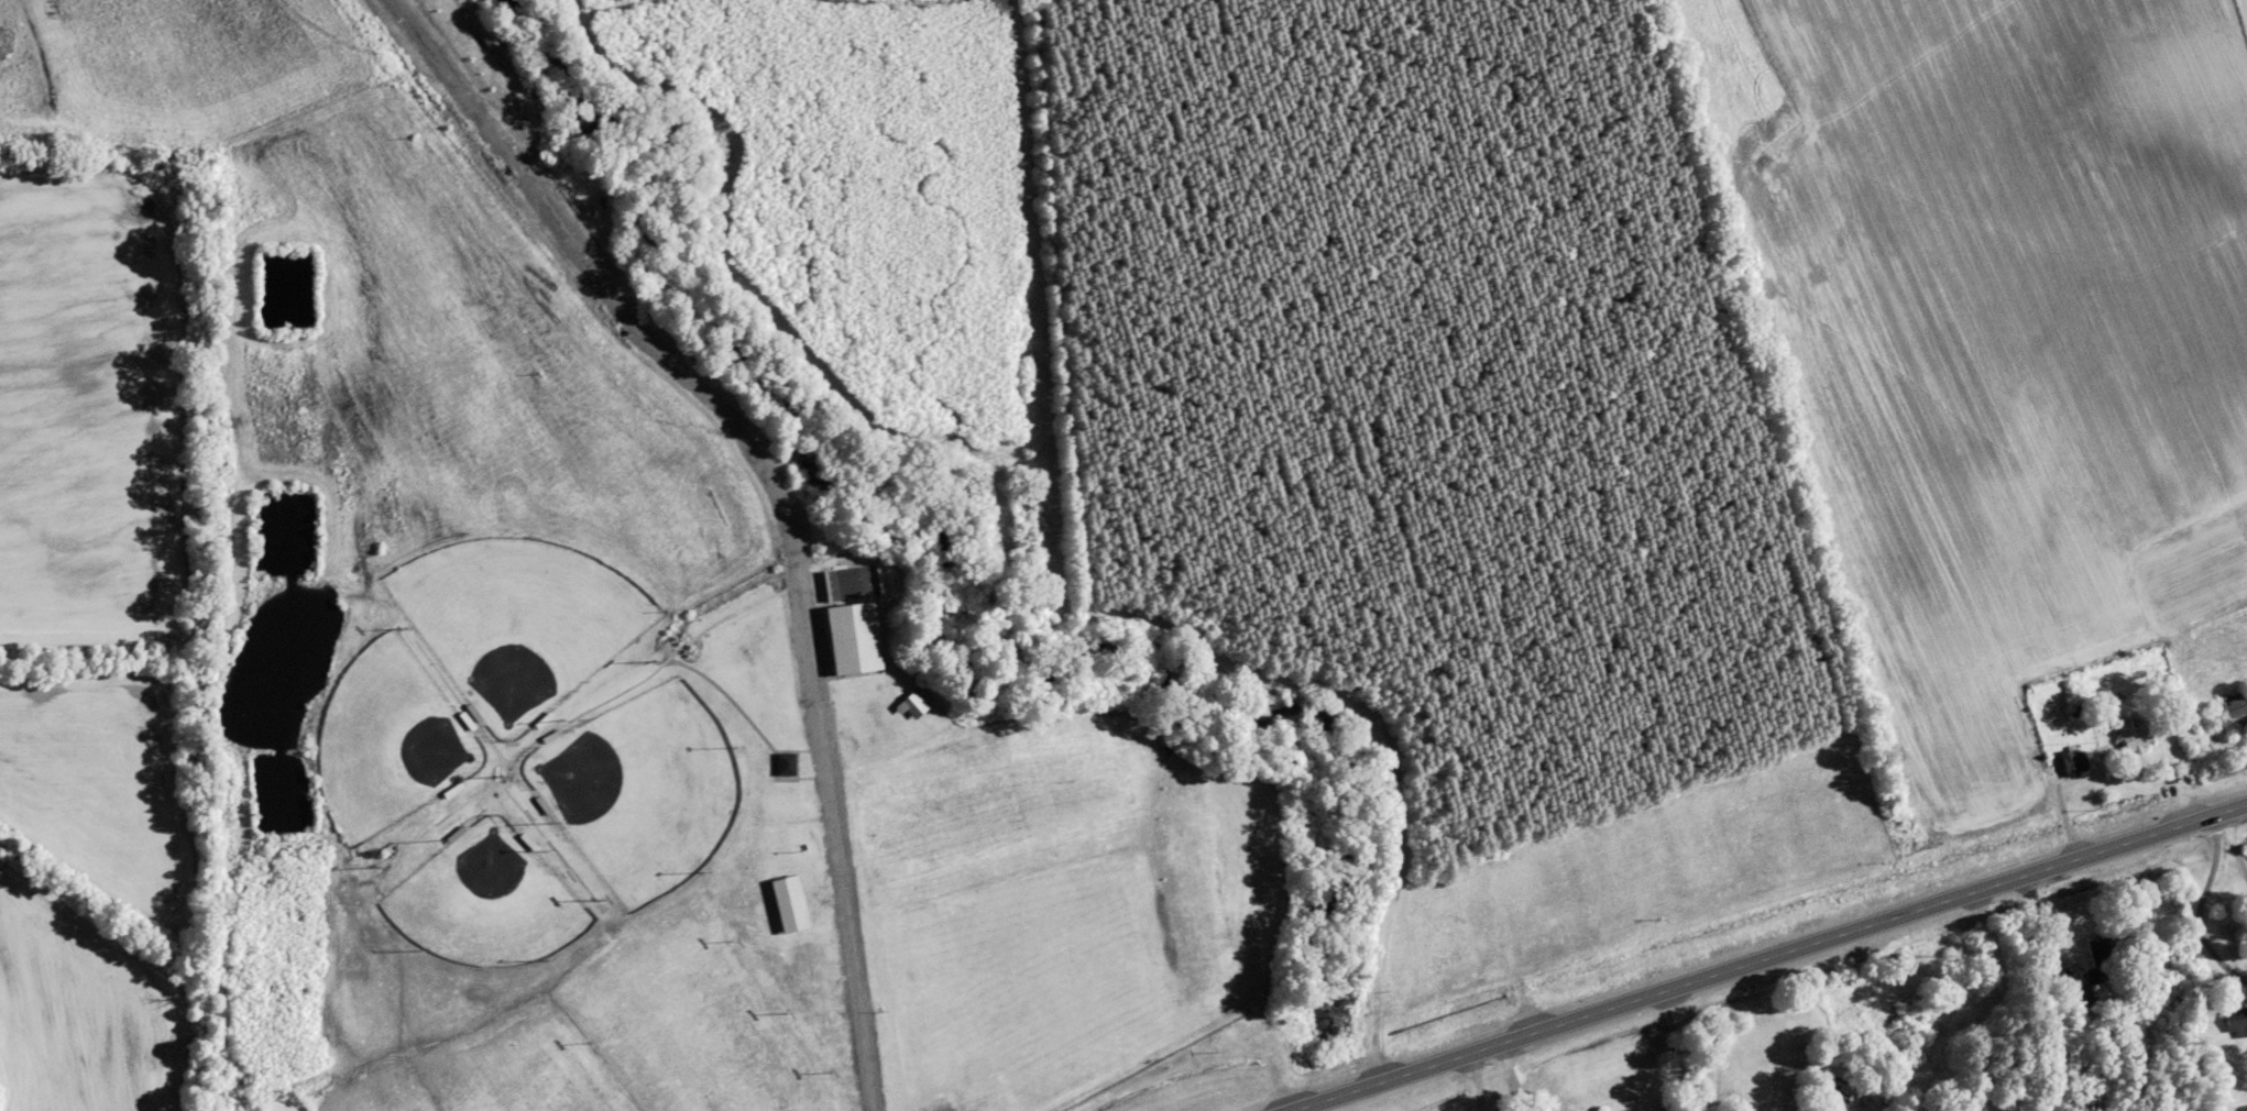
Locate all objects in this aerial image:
road: (588, 708)
building: (2237, 710)
road: (737, 716)
building: (2136, 735)
building: (2075, 761)
road: (519, 811)
park: (661, 825)
road: (827, 833)
road: (2233, 848)
road: (2193, 912)
road: (2047, 930)
road: (1768, 956)
building: (2104, 956)
building: (2083, 994)
building: (1912, 1010)
building: (2238, 1022)
road: (1684, 1048)
road: (1512, 1076)
road: (1476, 1081)

